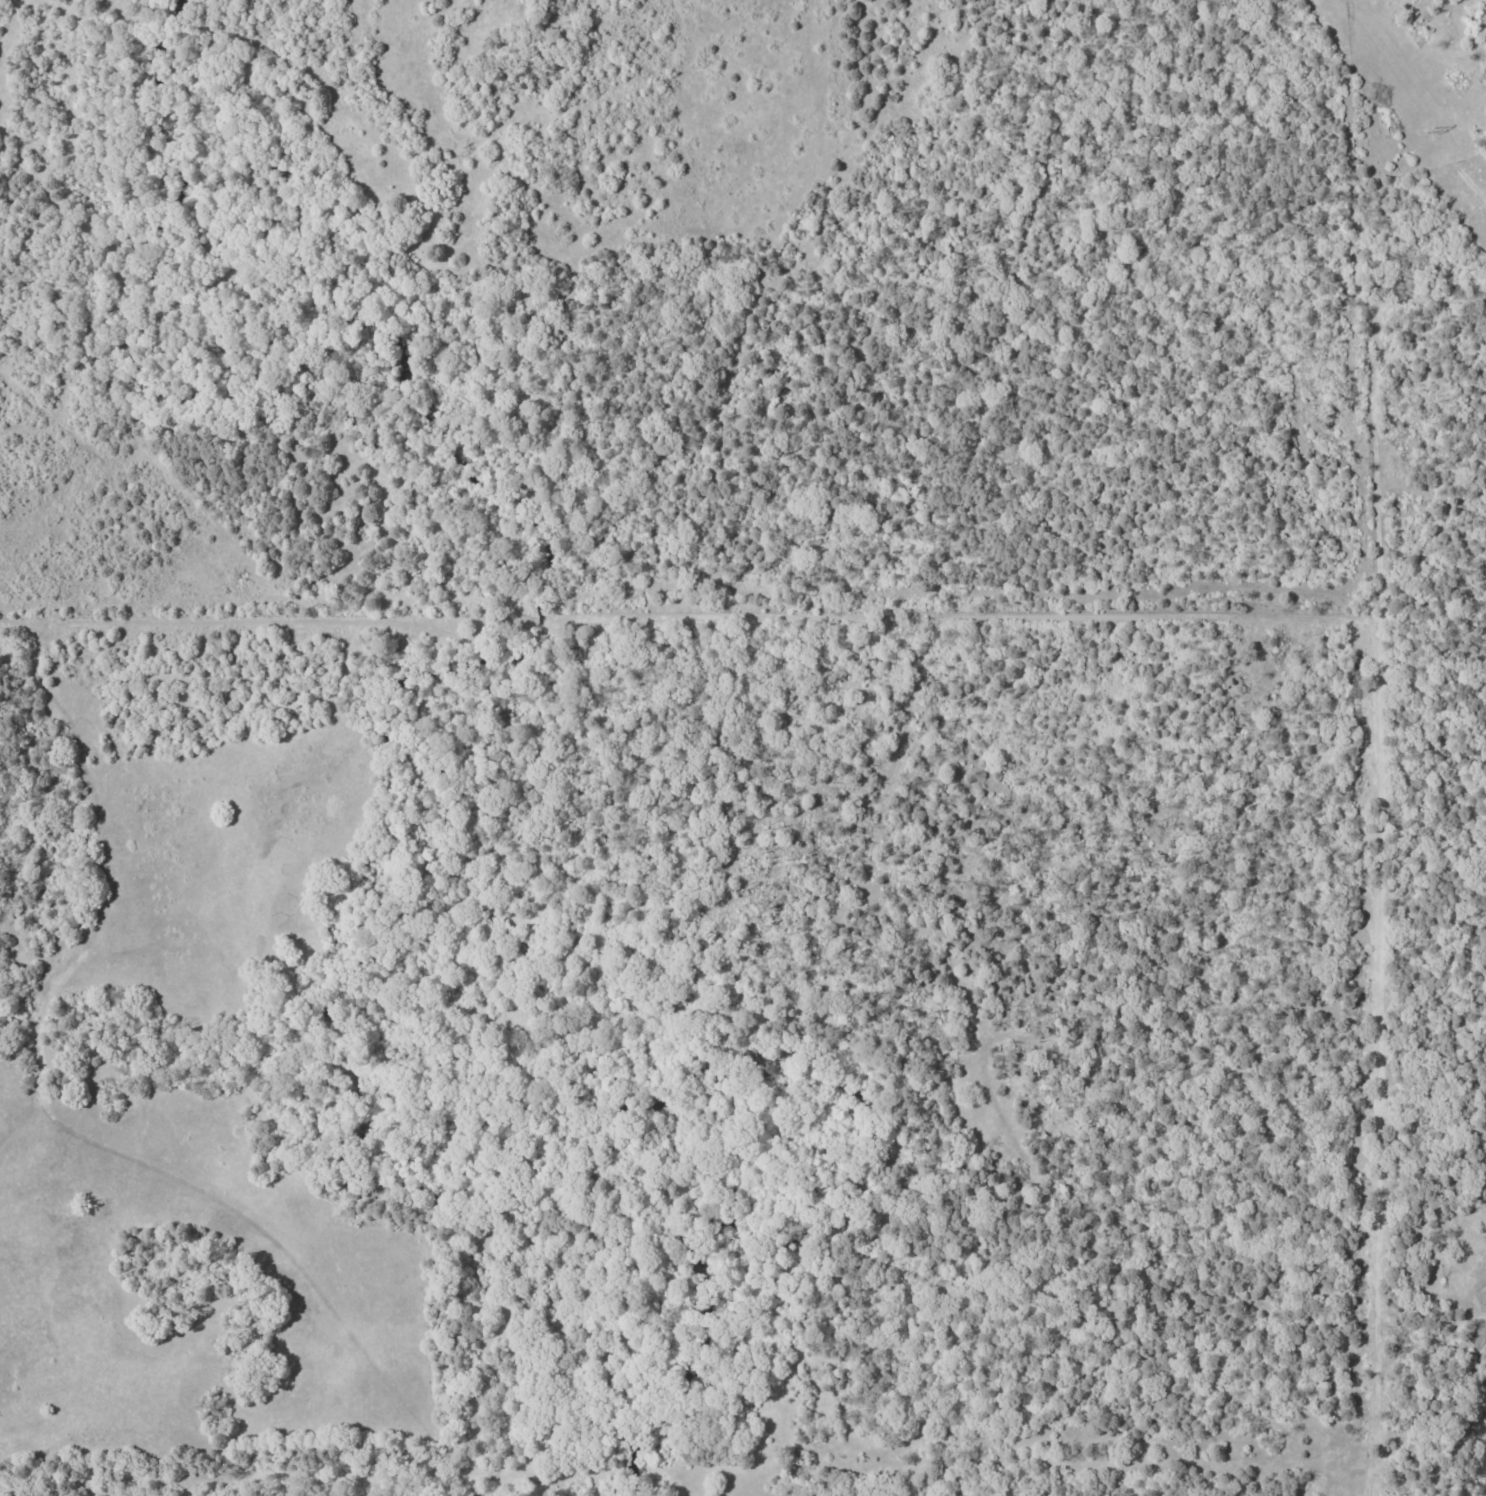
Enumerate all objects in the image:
power tower: (1429, 128)

